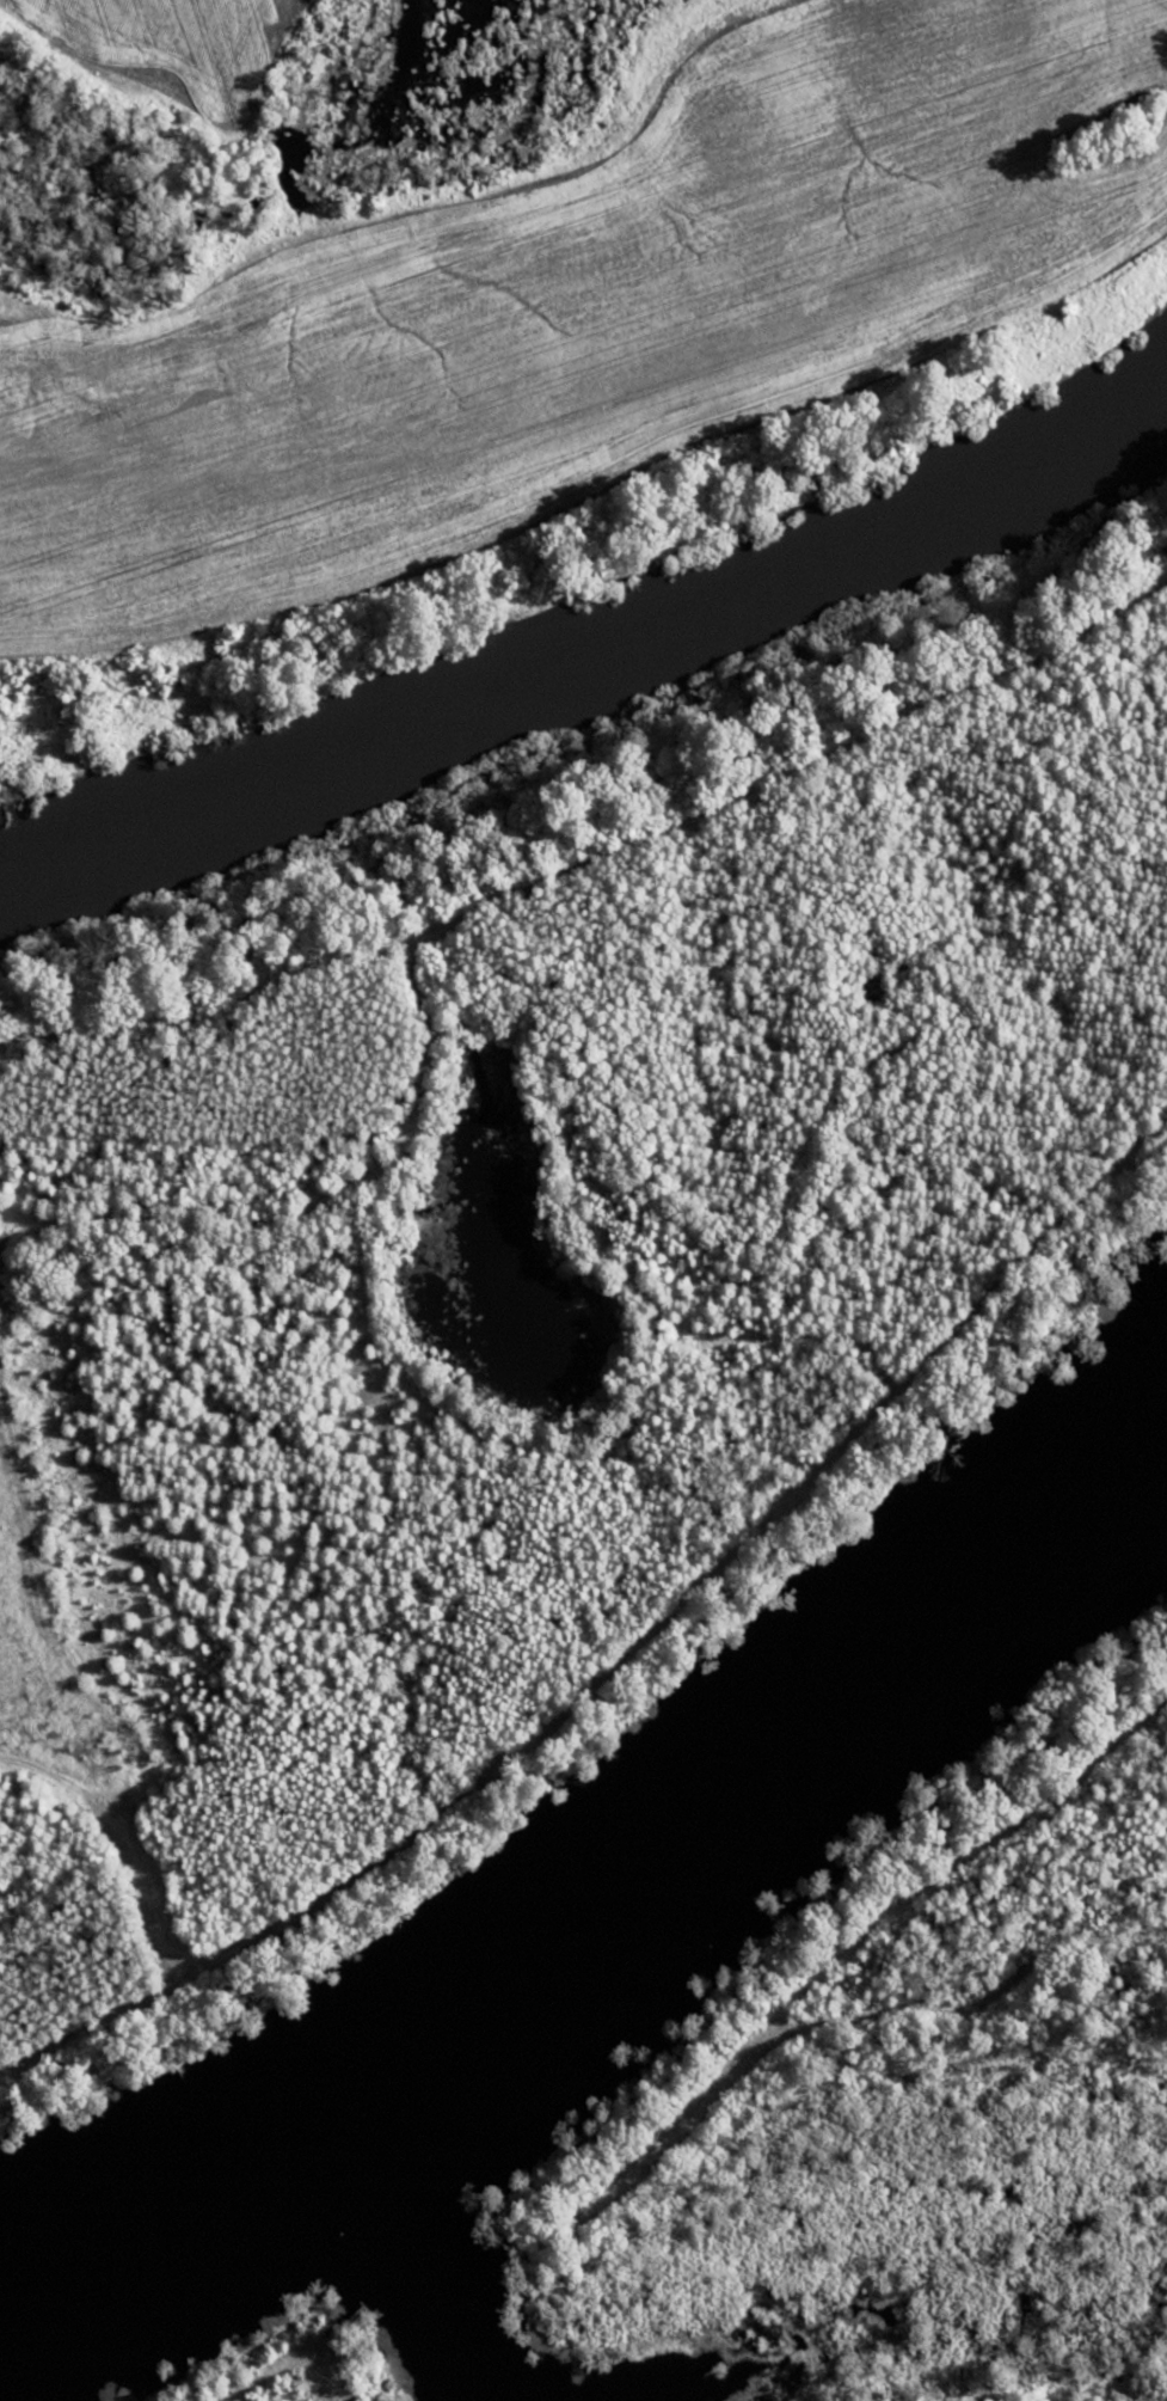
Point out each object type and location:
river: (595, 653)
road: (600, 851)

